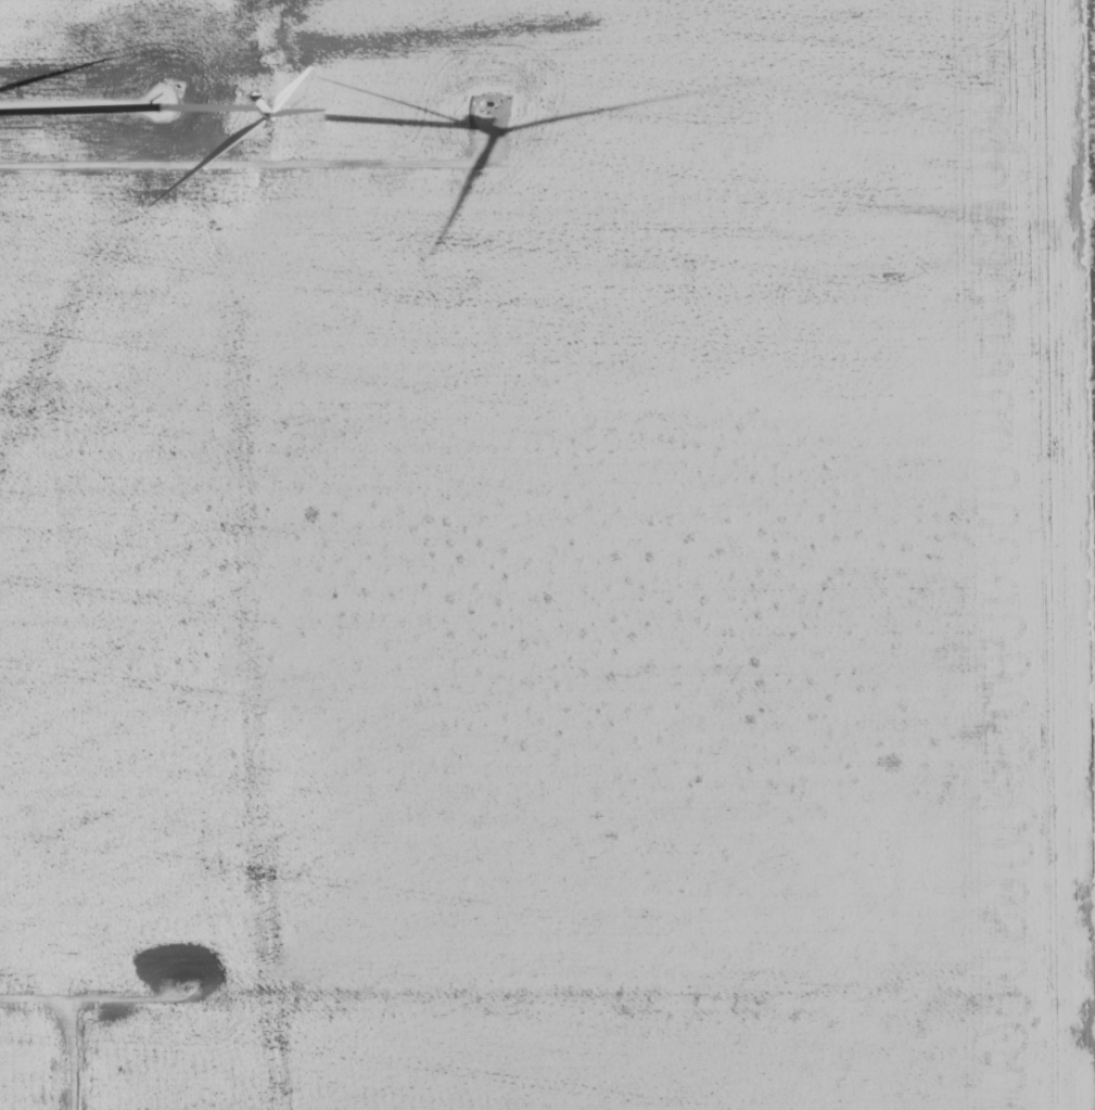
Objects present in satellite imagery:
wind turbine: (158, 103)
road: (138, 193)
road: (547, 1020)
road: (73, 1064)

